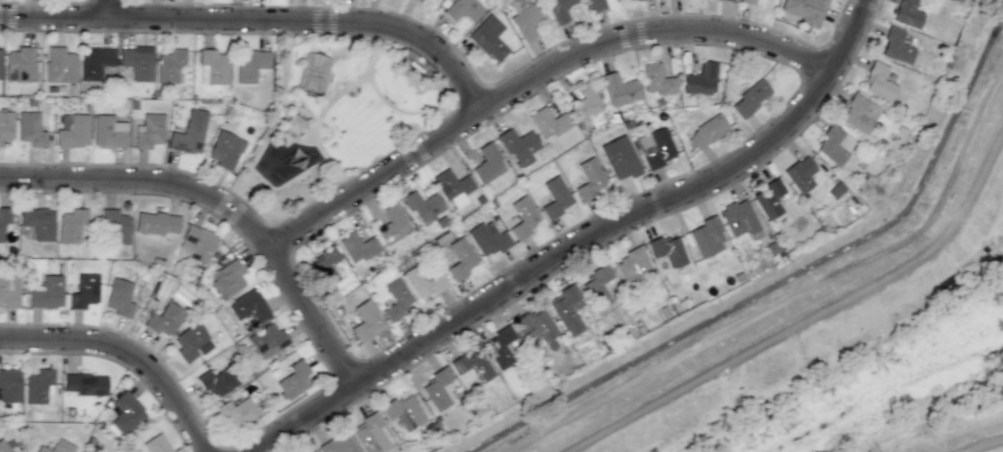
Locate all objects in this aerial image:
building: (418, 0)
building: (631, 0)
building: (747, 2)
building: (596, 5)
road: (107, 9)
building: (463, 9)
building: (559, 10)
building: (805, 10)
building: (907, 13)
road: (258, 22)
building: (525, 22)
building: (488, 38)
building: (896, 46)
building: (0, 57)
building: (94, 62)
building: (137, 63)
building: (19, 64)
building: (59, 65)
building: (169, 65)
building: (250, 65)
building: (212, 67)
road: (532, 79)
building: (657, 79)
building: (700, 80)
building: (878, 82)
building: (619, 89)
building: (750, 98)
building: (586, 102)
building: (859, 114)
building: (547, 123)
building: (6, 127)
building: (30, 129)
building: (149, 131)
building: (706, 131)
building: (73, 132)
building: (108, 132)
building: (189, 134)
building: (834, 145)
building: (518, 147)
building: (655, 148)
building: (224, 150)
building: (620, 157)
building: (488, 163)
building: (800, 174)
building: (590, 180)
building: (453, 188)
building: (555, 197)
building: (769, 199)
road: (222, 204)
building: (422, 205)
building: (522, 217)
building: (4, 220)
building: (739, 220)
building: (38, 223)
building: (155, 223)
building: (392, 225)
building: (71, 226)
building: (114, 227)
building: (706, 237)
building: (488, 238)
road: (580, 241)
building: (196, 244)
building: (357, 247)
building: (667, 251)
building: (460, 258)
building: (324, 266)
building: (632, 267)
building: (227, 278)
building: (425, 280)
building: (599, 285)
building: (9, 291)
building: (85, 291)
building: (46, 293)
road: (794, 293)
building: (119, 298)
building: (397, 299)
building: (248, 306)
building: (567, 309)
road: (815, 315)
building: (163, 319)
building: (365, 320)
building: (535, 326)
building: (267, 340)
building: (191, 342)
building: (502, 349)
road: (126, 354)
building: (472, 365)
building: (294, 380)
building: (216, 381)
building: (85, 384)
building: (9, 386)
building: (37, 386)
building: (437, 389)
building: (126, 413)
building: (235, 413)
building: (403, 413)
building: (371, 434)
building: (156, 444)
building: (338, 444)
road: (985, 445)
building: (3, 446)
building: (57, 447)
building: (313, 451)

